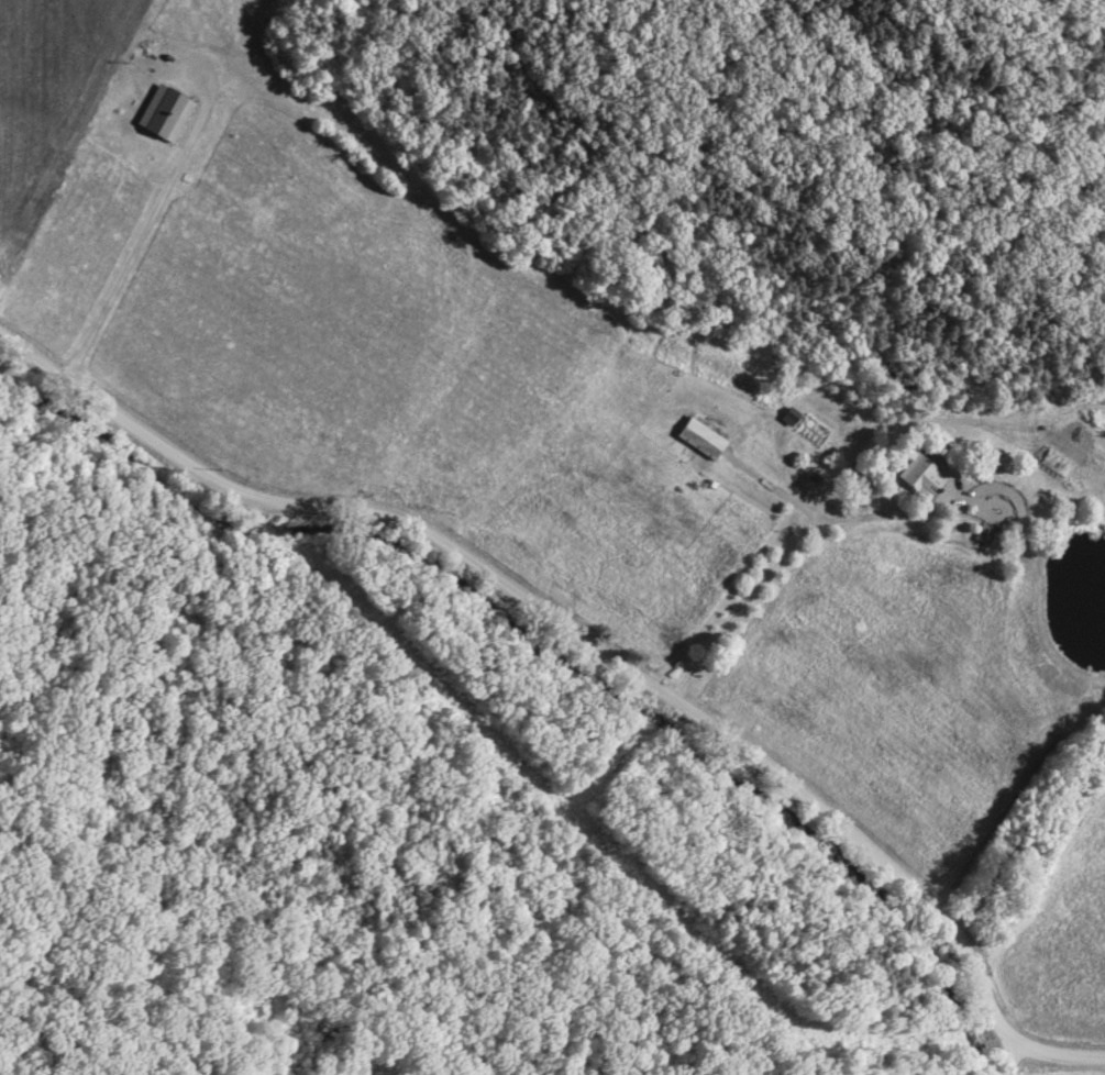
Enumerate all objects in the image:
road: (151, 220)
building: (703, 442)
building: (921, 478)
road: (884, 520)
road: (798, 542)
road: (594, 647)
road: (1013, 1059)

